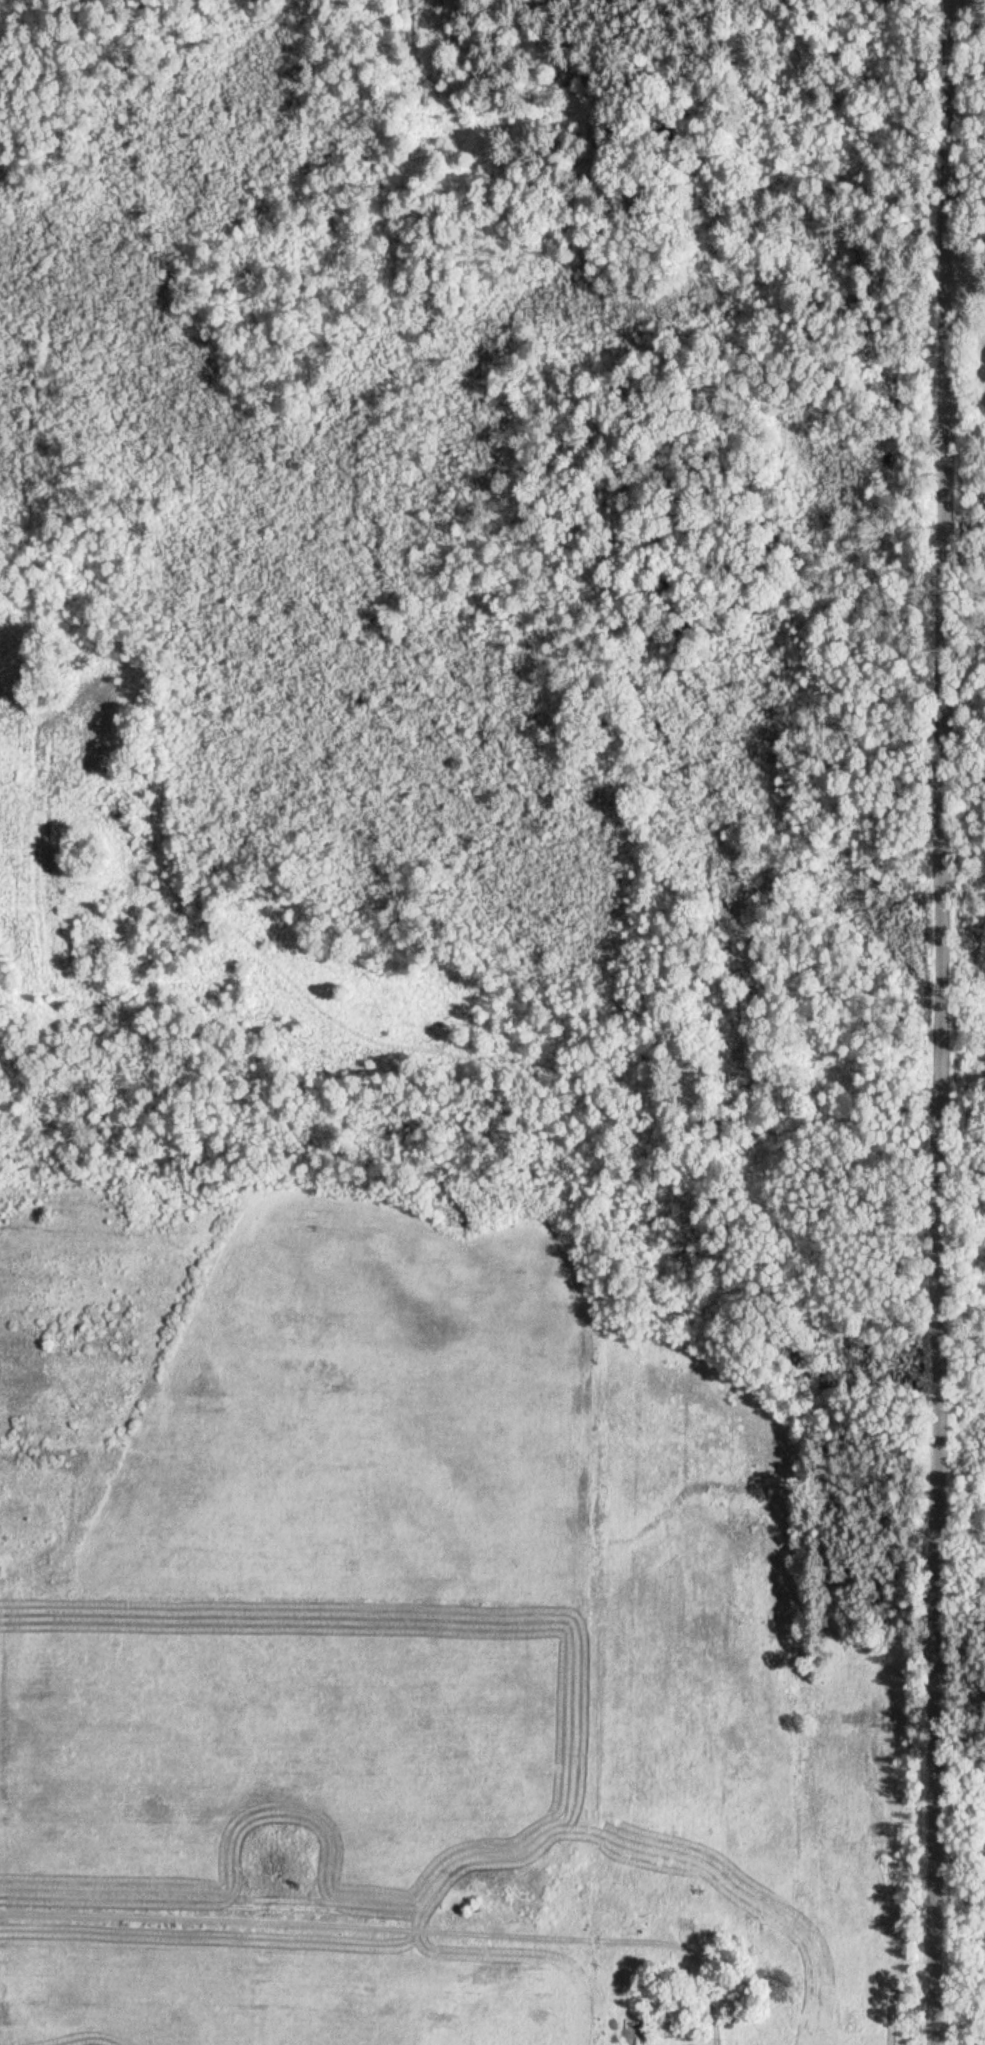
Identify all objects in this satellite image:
road: (954, 1022)
road: (351, 1987)
building: (644, 2042)

